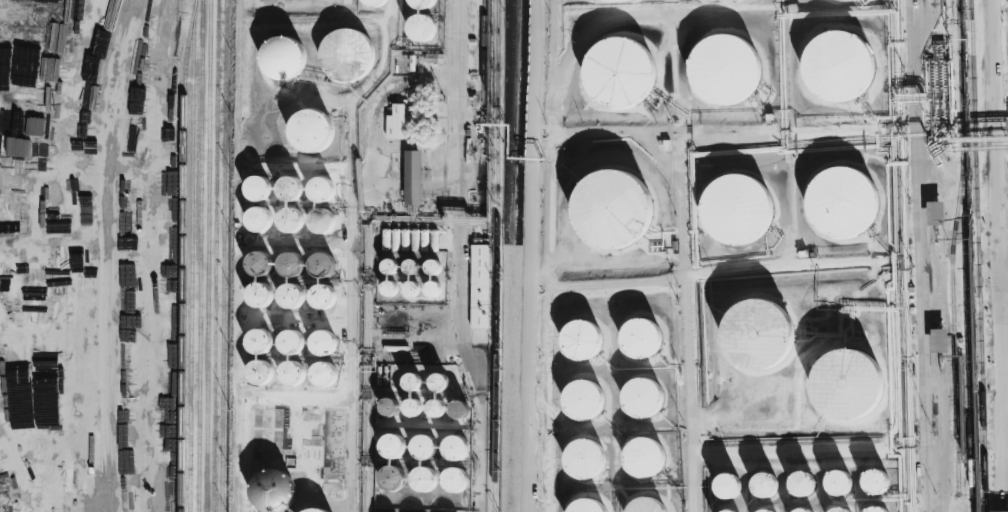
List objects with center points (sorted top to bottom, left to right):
building: (588, 0)
building: (616, 0)
building: (720, 0)
building: (830, 1)
building: (370, 2)
building: (421, 4)
building: (419, 31)
railway: (483, 53)
building: (344, 57)
building: (279, 64)
building: (841, 67)
building: (723, 71)
building: (615, 77)
building: (396, 122)
building: (307, 132)
building: (413, 177)
building: (288, 190)
building: (256, 191)
building: (320, 191)
building: (845, 207)
building: (612, 208)
building: (935, 213)
building: (733, 216)
building: (257, 221)
building: (319, 222)
building: (286, 223)
road: (684, 247)
road: (107, 254)
railway: (182, 255)
railway: (190, 255)
railway: (207, 255)
road: (528, 255)
road: (920, 255)
road: (999, 255)
railway: (199, 256)
railway: (215, 256)
railway: (223, 256)
railway: (496, 256)
railway: (964, 256)
railway: (978, 256)
road: (459, 258)
building: (255, 265)
building: (288, 267)
building: (432, 267)
road: (785, 267)
building: (319, 268)
road: (607, 283)
building: (480, 286)
road: (1004, 292)
building: (256, 297)
building: (321, 298)
building: (287, 299)
railway: (952, 319)
building: (757, 333)
building: (640, 340)
building: (939, 340)
building: (580, 342)
building: (256, 344)
building: (287, 344)
building: (323, 346)
road: (354, 350)
building: (258, 375)
building: (288, 375)
building: (320, 377)
building: (411, 382)
building: (439, 382)
building: (846, 383)
building: (641, 399)
building: (580, 401)
building: (388, 407)
building: (412, 407)
building: (436, 408)
building: (459, 409)
building: (390, 448)
building: (423, 450)
building: (453, 452)
road: (240, 453)
building: (643, 458)
building: (584, 460)
building: (390, 482)
building: (421, 482)
building: (453, 483)
building: (800, 485)
building: (874, 485)
building: (765, 487)
building: (839, 487)
building: (725, 490)
building: (269, 494)
building: (583, 507)
building: (644, 507)
building: (310, 509)
building: (876, 510)
building: (729, 511)
building: (828, 511)

